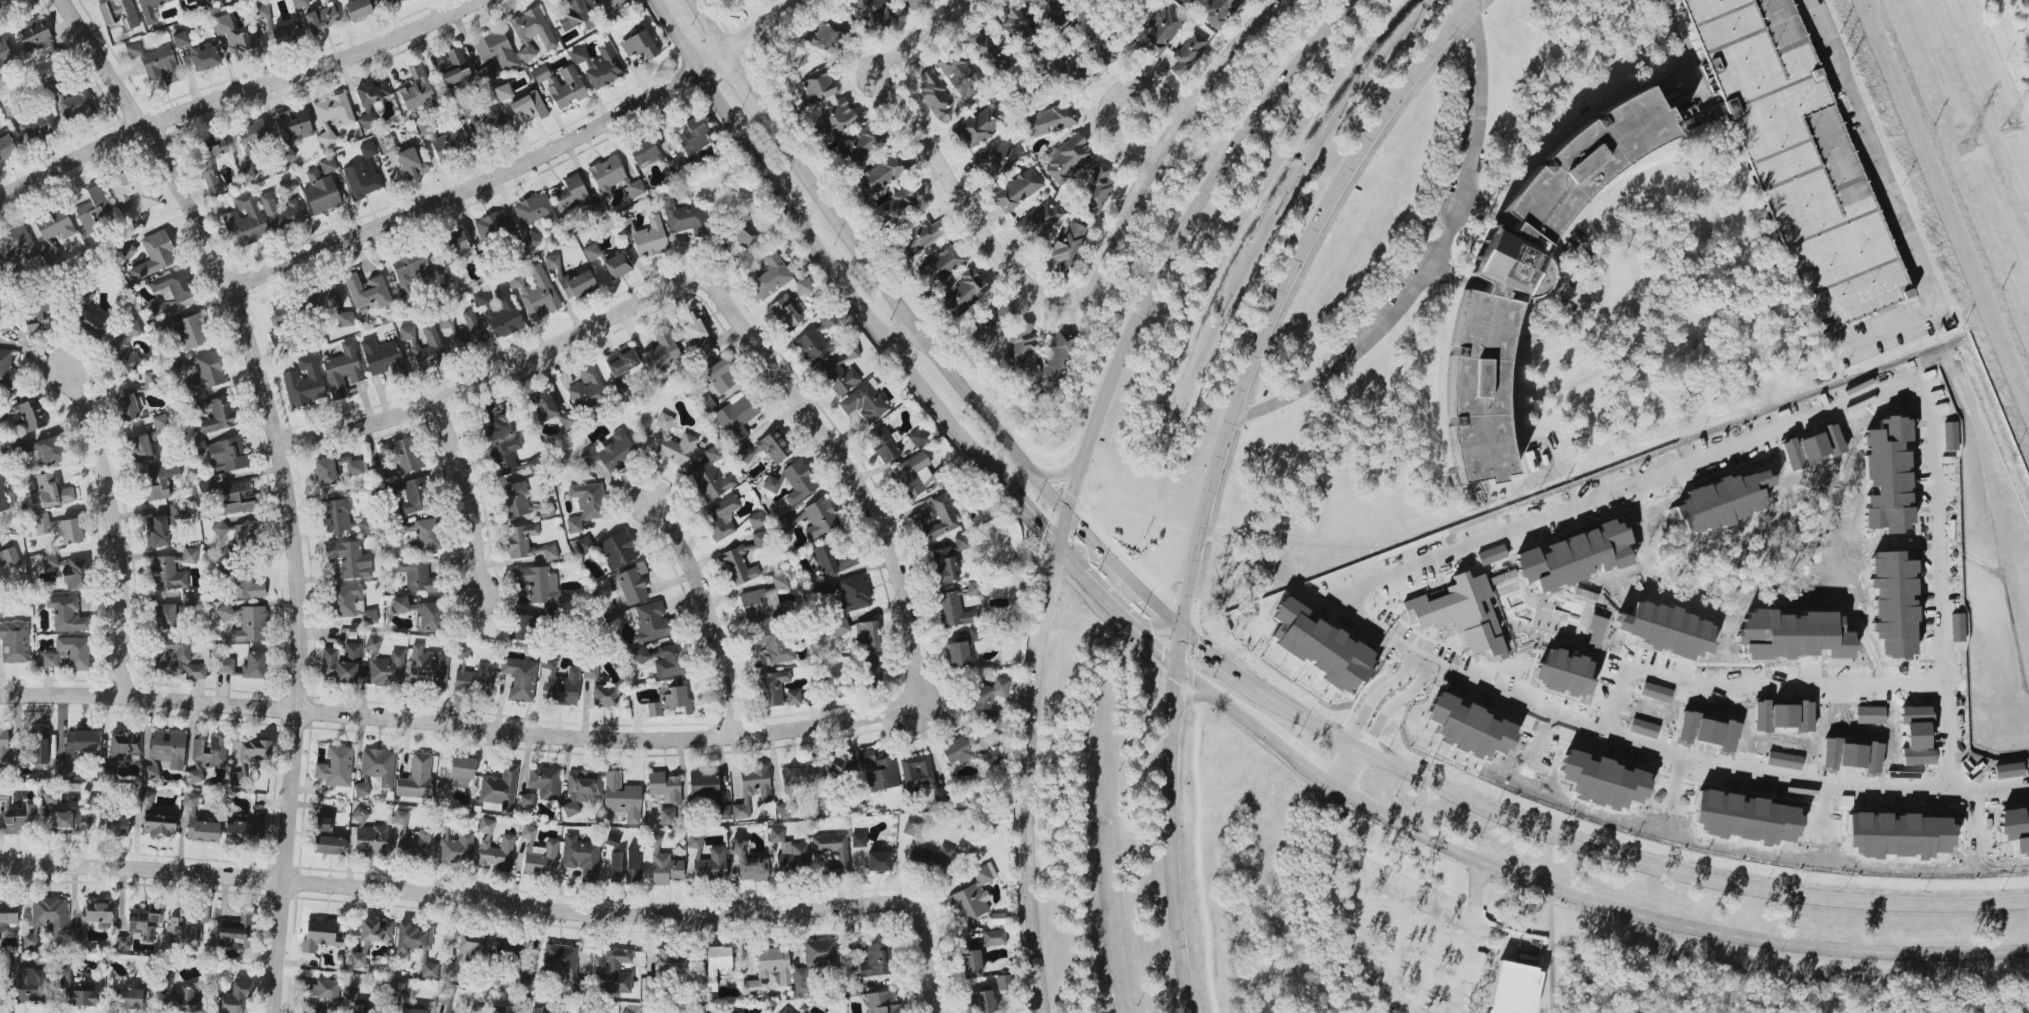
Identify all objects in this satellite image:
road: (2, 0)
building: (190, 0)
building: (401, 0)
building: (1191, 2)
building: (300, 3)
building: (912, 3)
road: (1453, 4)
building: (607, 5)
road: (657, 5)
building: (151, 9)
building: (357, 9)
building: (261, 11)
building: (1218, 11)
building: (119, 13)
building: (874, 13)
building: (576, 16)
building: (1050, 16)
building: (321, 19)
building: (1017, 26)
road: (706, 27)
building: (532, 32)
building: (1161, 32)
building: (283, 34)
building: (827, 34)
building: (33, 36)
building: (236, 38)
building: (180, 39)
road: (927, 40)
road: (679, 41)
road: (1674, 43)
park: (2010, 44)
building: (639, 45)
building: (495, 49)
building: (134, 50)
building: (987, 50)
building: (1188, 53)
building: (4, 54)
building: (204, 58)
building: (161, 63)
building: (599, 64)
building: (454, 69)
building: (487, 72)
building: (959, 75)
road: (740, 78)
building: (561, 84)
building: (816, 88)
building: (415, 89)
building: (502, 92)
building: (933, 92)
road: (238, 93)
road: (1110, 96)
road: (1849, 97)
building: (370, 99)
building: (71, 104)
building: (529, 107)
building: (332, 115)
building: (491, 118)
building: (1049, 120)
building: (835, 121)
building: (37, 124)
power tower: (2007, 126)
building: (979, 127)
building: (292, 132)
building: (251, 136)
building: (693, 136)
power tower: (1968, 142)
building: (386, 144)
building: (863, 144)
building: (449, 145)
building: (6, 147)
building: (368, 150)
building: (643, 151)
road: (1169, 151)
building: (1799, 156)
parking garage: (1799, 156)
building: (997, 158)
building: (1068, 158)
building: (209, 160)
road: (524, 162)
building: (411, 163)
building: (328, 165)
building: (246, 174)
building: (881, 175)
building: (614, 178)
building: (361, 179)
building: (132, 188)
building: (1098, 189)
building: (1017, 190)
building: (321, 193)
building: (570, 194)
road: (970, 197)
building: (899, 206)
building: (93, 209)
building: (535, 210)
building: (280, 212)
building: (684, 217)
building: (1040, 218)
building: (245, 221)
building: (54, 225)
building: (492, 225)
building: (743, 233)
building: (647, 236)
building: (920, 236)
building: (531, 241)
building: (17, 242)
building: (454, 244)
building: (1067, 247)
building: (126, 250)
building: (591, 252)
building: (156, 254)
road: (1430, 262)
building: (553, 264)
building: (617, 265)
building: (939, 266)
building: (1531, 270)
building: (411, 274)
building: (443, 274)
building: (770, 276)
road: (841, 276)
building: (577, 284)
building: (803, 286)
building: (170, 289)
building: (368, 291)
road: (1274, 291)
road: (1922, 292)
building: (535, 293)
building: (963, 293)
building: (480, 298)
building: (329, 304)
road: (905, 312)
building: (38, 313)
building: (785, 313)
road: (1283, 313)
building: (89, 314)
building: (503, 314)
building: (280, 315)
building: (990, 324)
building: (690, 327)
building: (132, 328)
building: (190, 332)
building: (471, 332)
road: (902, 335)
building: (432, 344)
building: (1020, 344)
building: (813, 346)
building: (702, 347)
building: (851, 351)
building: (660, 352)
building: (1055, 356)
building: (382, 357)
building: (123, 358)
building: (621, 362)
building: (5, 368)
building: (342, 371)
building: (206, 374)
building: (721, 375)
building: (839, 378)
building: (304, 383)
building: (586, 387)
road: (465, 390)
building: (864, 402)
building: (542, 404)
building: (707, 404)
building: (126, 407)
building: (215, 415)
building: (735, 416)
building: (664, 421)
building: (497, 422)
road: (819, 427)
road: (1777, 434)
building: (917, 437)
building: (883, 444)
building: (676, 448)
building: (765, 449)
building: (47, 452)
building: (610, 452)
building: (224, 454)
building: (401, 455)
building: (504, 456)
road: (1077, 468)
building: (325, 472)
building: (912, 475)
road: (1056, 475)
building: (711, 476)
road: (285, 479)
building: (158, 480)
building: (798, 481)
building: (771, 484)
building: (48, 491)
road: (467, 495)
building: (413, 496)
building: (237, 498)
building: (6, 500)
building: (515, 500)
building: (585, 505)
road: (1024, 511)
building: (336, 515)
building: (946, 516)
building: (721, 517)
building: (819, 518)
building: (756, 519)
building: (788, 522)
building: (365, 526)
road: (116, 527)
building: (59, 528)
building: (220, 528)
building: (158, 531)
road: (1083, 531)
building: (246, 534)
building: (422, 534)
building: (963, 542)
building: (527, 543)
building: (583, 544)
road: (1392, 546)
building: (617, 549)
road: (1078, 549)
building: (1576, 557)
building: (9, 558)
building: (349, 559)
building: (50, 560)
building: (742, 560)
building: (833, 560)
road: (1068, 562)
building: (944, 565)
building: (172, 570)
building: (416, 575)
road: (1125, 575)
building: (74, 576)
building: (633, 582)
building: (538, 584)
building: (245, 587)
building: (972, 588)
building: (853, 594)
building: (188, 600)
building: (763, 602)
building: (351, 603)
road: (1109, 603)
building: (400, 604)
building: (953, 610)
road: (709, 611)
building: (69, 614)
road: (1165, 614)
building: (1462, 614)
building: (165, 616)
building: (427, 616)
building: (245, 622)
building: (652, 622)
building: (840, 626)
building: (519, 627)
road: (1159, 630)
building: (974, 635)
building: (867, 636)
building: (14, 642)
building: (774, 643)
road: (1177, 646)
building: (1321, 647)
road: (1156, 648)
building: (72, 653)
building: (957, 654)
building: (49, 659)
building: (178, 659)
building: (662, 660)
building: (341, 664)
building: (224, 665)
building: (253, 666)
building: (384, 666)
building: (429, 667)
building: (871, 672)
building: (471, 675)
building: (520, 678)
road: (1408, 679)
building: (559, 685)
building: (599, 689)
building: (776, 690)
road: (1758, 691)
road: (1188, 697)
building: (676, 698)
building: (988, 700)
building: (653, 709)
road: (485, 728)
building: (3, 745)
building: (38, 745)
building: (124, 745)
building: (75, 749)
building: (168, 749)
building: (253, 751)
building: (955, 751)
building: (865, 756)
building: (207, 757)
building: (992, 757)
road: (1346, 766)
building: (336, 767)
building: (834, 767)
building: (151, 769)
building: (375, 770)
road: (1747, 771)
building: (915, 772)
building: (881, 775)
building: (456, 776)
building: (796, 776)
building: (416, 777)
building: (237, 778)
building: (544, 782)
building: (664, 786)
building: (500, 788)
building: (581, 789)
building: (708, 792)
building: (939, 793)
building: (764, 796)
building: (621, 797)
building: (145, 798)
building: (49, 799)
building: (527, 800)
building: (357, 813)
building: (669, 816)
building: (400, 817)
building: (19, 820)
building: (67, 822)
building: (199, 822)
building: (323, 824)
building: (158, 825)
building: (114, 826)
building: (911, 828)
building: (244, 834)
building: (776, 834)
road: (1170, 838)
building: (612, 839)
building: (858, 839)
building: (370, 840)
building: (694, 840)
building: (414, 843)
road: (1578, 844)
building: (328, 845)
building: (455, 848)
building: (494, 848)
building: (832, 851)
building: (538, 854)
building: (581, 856)
building: (931, 858)
building: (792, 859)
building: (879, 860)
building: (662, 863)
building: (748, 863)
building: (712, 865)
building: (625, 866)
road: (1474, 890)
road: (458, 894)
road: (1571, 895)
building: (972, 896)
road: (1436, 904)
building: (98, 911)
building: (7, 914)
building: (46, 919)
building: (144, 922)
building: (187, 927)
building: (235, 930)
building: (376, 930)
building: (321, 934)
building: (75, 935)
road: (1391, 935)
building: (993, 937)
building: (413, 938)
building: (122, 943)
road: (1361, 945)
building: (506, 951)
building: (466, 954)
building: (359, 957)
building: (560, 958)
building: (670, 960)
building: (815, 960)
building: (875, 960)
road: (930, 960)
road: (1427, 960)
building: (970, 962)
building: (773, 965)
road: (1461, 968)
building: (714, 969)
building: (429, 970)
building: (614, 972)
building: (167, 978)
building: (1004, 982)
building: (526, 983)
building: (578, 984)
building: (29, 985)
building: (752, 987)
building: (396, 989)
building: (1514, 989)
building: (77, 990)
building: (350, 993)
building: (325, 995)
building: (126, 998)
building: (234, 998)
building: (444, 1000)
building: (188, 1002)
building: (882, 1002)
building: (982, 1002)
building: (363, 1009)
building: (474, 1009)
building: (500, 1009)
building: (412, 1010)
building: (630, 1010)
building: (787, 1010)
building: (519, 1011)
building: (543, 1011)

